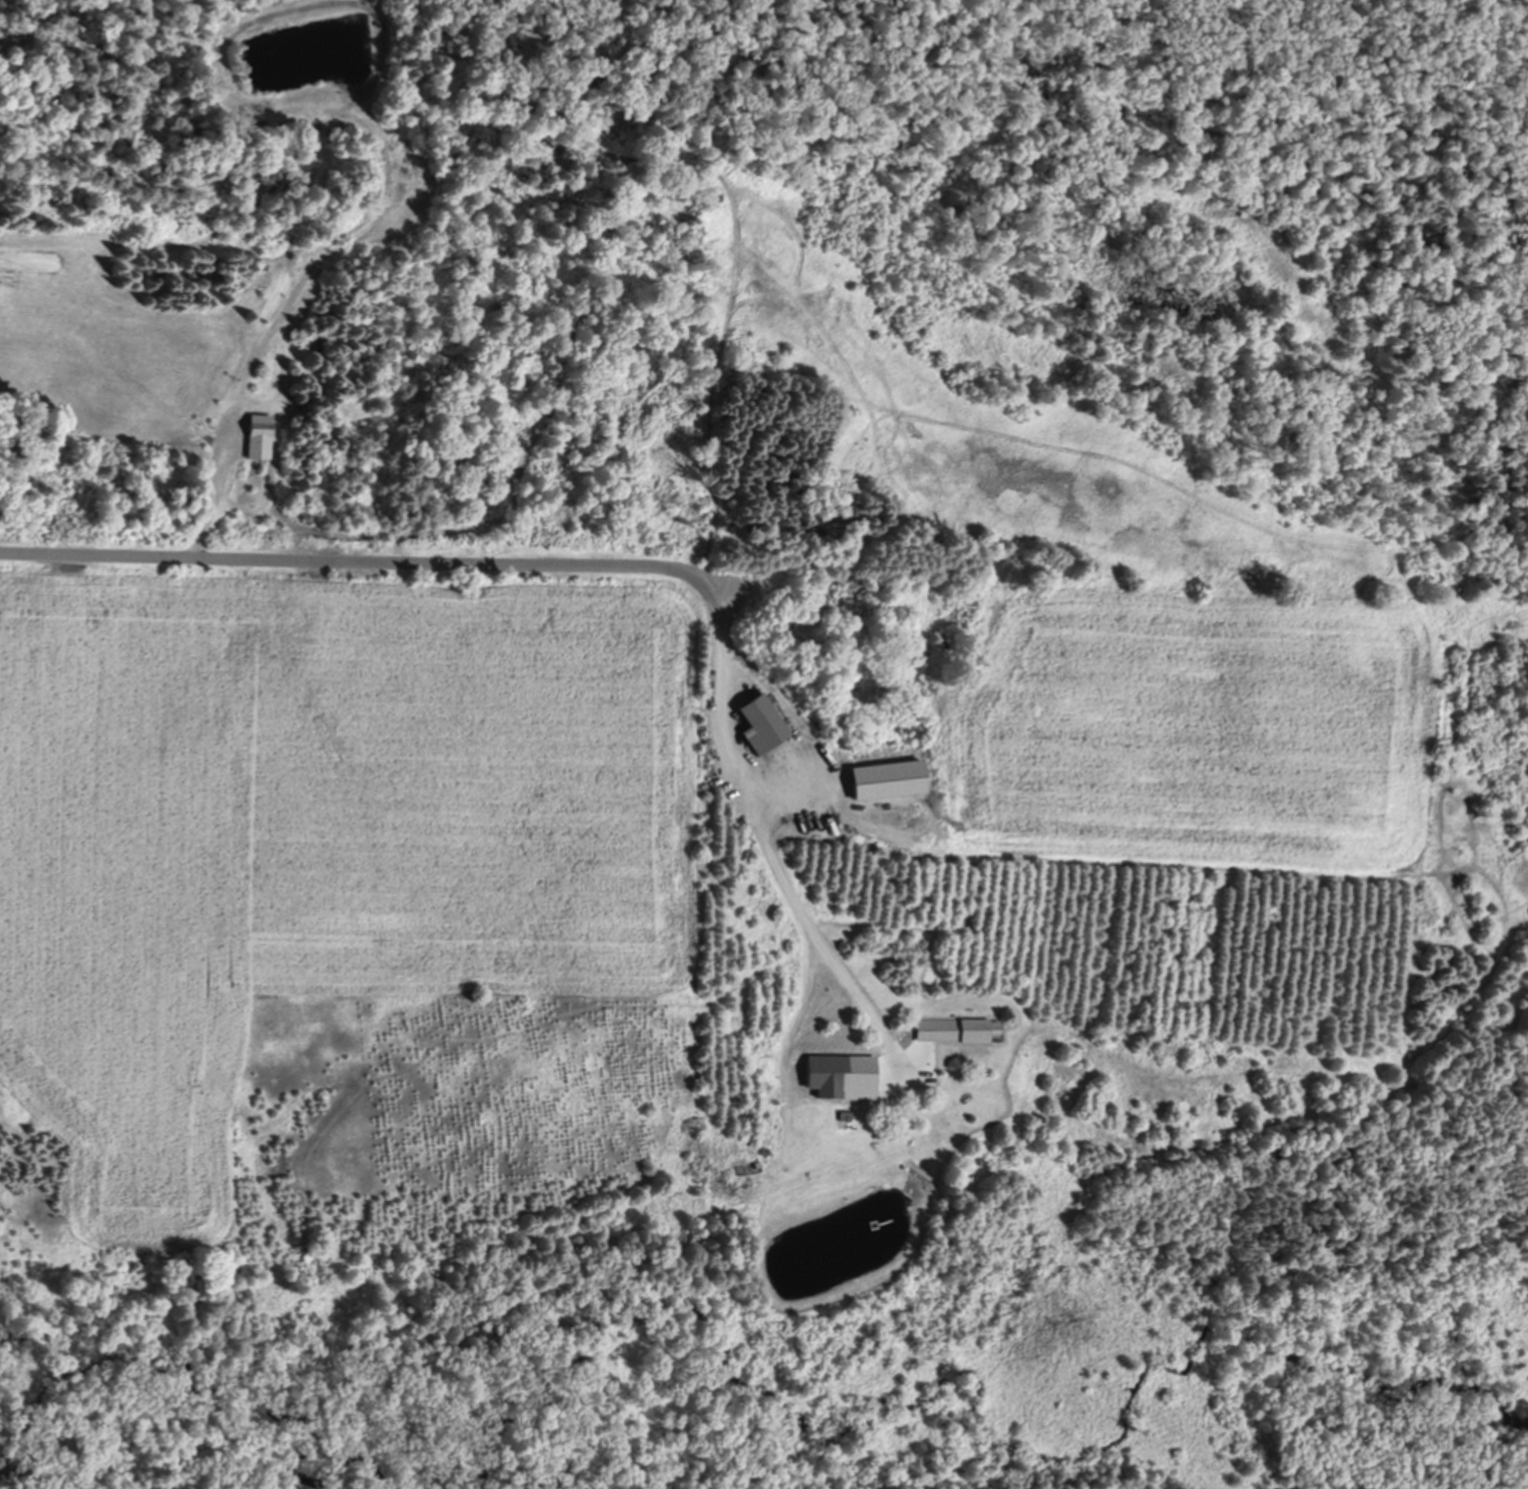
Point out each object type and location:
building: (428, 129)
building: (322, 342)
building: (261, 422)
road: (357, 558)
building: (762, 720)
road: (768, 841)
building: (960, 1027)
building: (843, 1069)
building: (847, 1112)

